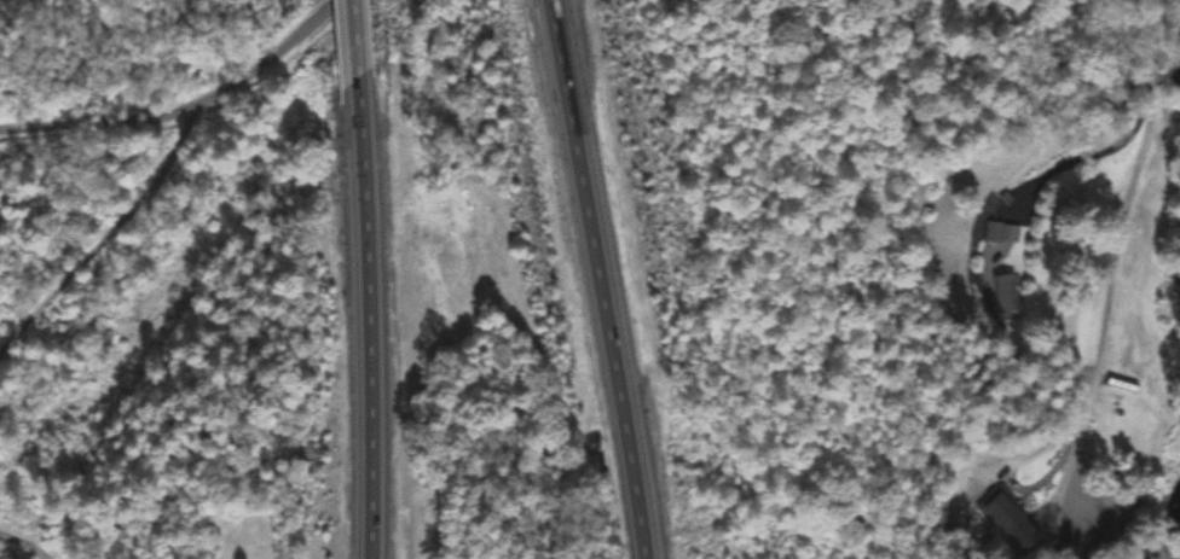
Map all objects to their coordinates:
road: (357, 42)
road: (225, 80)
road: (58, 153)
road: (1093, 157)
road: (1114, 255)
road: (602, 279)
building: (1005, 293)
road: (370, 321)
river: (1153, 517)
building: (1010, 524)
building: (1103, 524)

